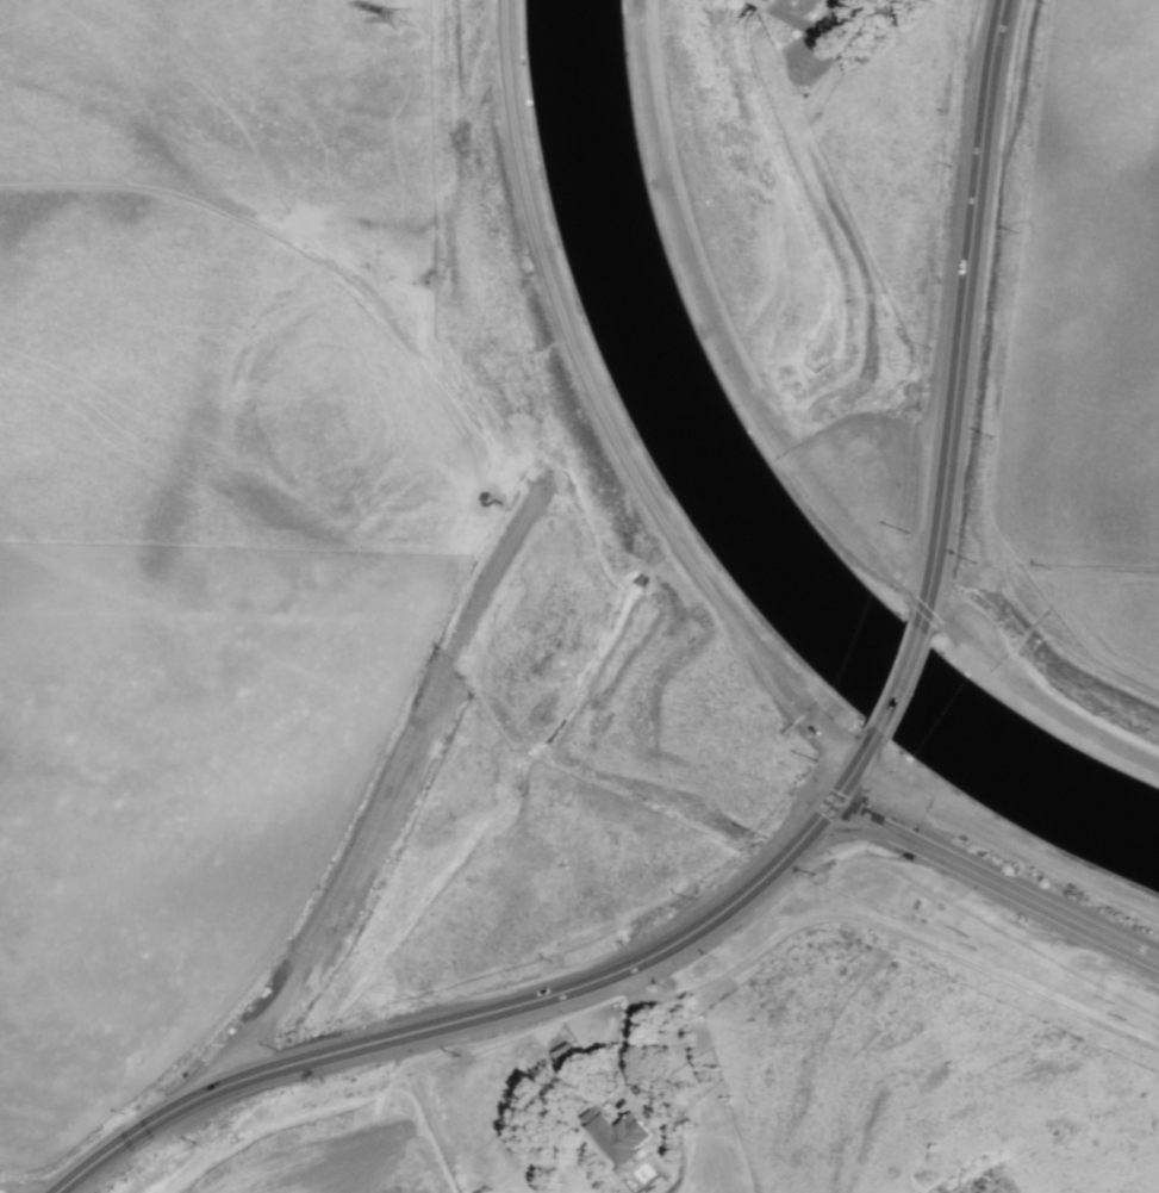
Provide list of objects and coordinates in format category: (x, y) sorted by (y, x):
road: (754, 5)
power tower: (415, 8)
road: (828, 17)
road: (790, 21)
road: (966, 315)
road: (734, 318)
road: (594, 409)
road: (1042, 658)
road: (896, 685)
road: (997, 877)
road: (878, 928)
road: (500, 1011)
road: (624, 1040)
building: (615, 1136)
road: (38, 1187)

